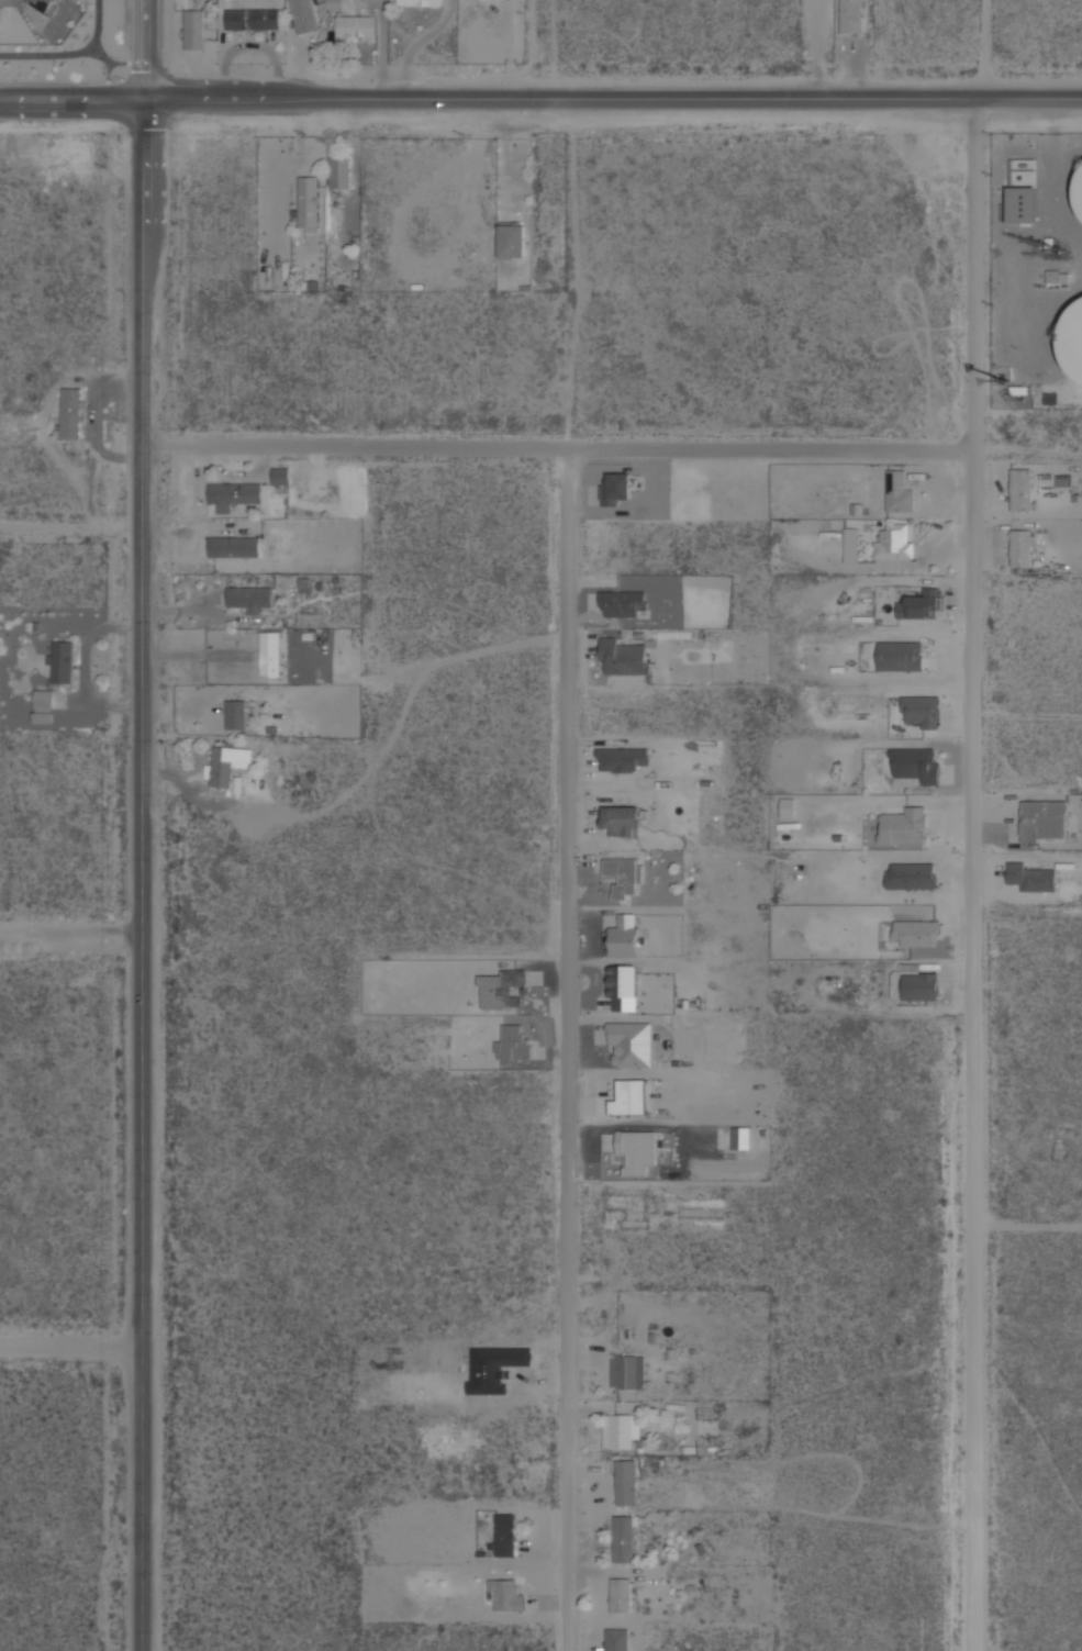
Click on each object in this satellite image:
building: (422, 2)
building: (44, 3)
building: (333, 3)
building: (303, 15)
building: (850, 16)
building: (252, 18)
building: (356, 24)
building: (194, 29)
road: (995, 48)
road: (70, 54)
road: (613, 97)
road: (72, 98)
building: (339, 170)
building: (1080, 198)
building: (308, 201)
building: (1022, 204)
building: (512, 241)
building: (1058, 276)
building: (1073, 338)
building: (70, 413)
road: (555, 451)
building: (280, 475)
building: (618, 487)
building: (1020, 488)
building: (899, 489)
building: (233, 492)
road: (70, 527)
building: (893, 540)
building: (233, 545)
building: (1020, 546)
building: (625, 581)
building: (304, 584)
building: (248, 596)
building: (623, 603)
building: (919, 604)
building: (270, 652)
building: (623, 656)
building: (900, 656)
building: (62, 660)
building: (43, 704)
building: (922, 710)
building: (235, 713)
building: (622, 758)
building: (226, 762)
building: (917, 762)
building: (788, 807)
building: (622, 819)
building: (1044, 821)
road: (141, 825)
building: (908, 825)
road: (970, 873)
building: (624, 875)
building: (911, 875)
building: (1033, 877)
building: (916, 933)
road: (70, 936)
building: (625, 936)
building: (921, 985)
building: (624, 988)
building: (516, 1042)
road: (570, 1051)
building: (628, 1097)
building: (740, 1138)
building: (636, 1150)
road: (70, 1343)
building: (494, 1368)
building: (624, 1372)
building: (620, 1430)
building: (625, 1481)
building: (505, 1535)
building: (624, 1538)
building: (506, 1595)
building: (620, 1595)
building: (616, 1639)

